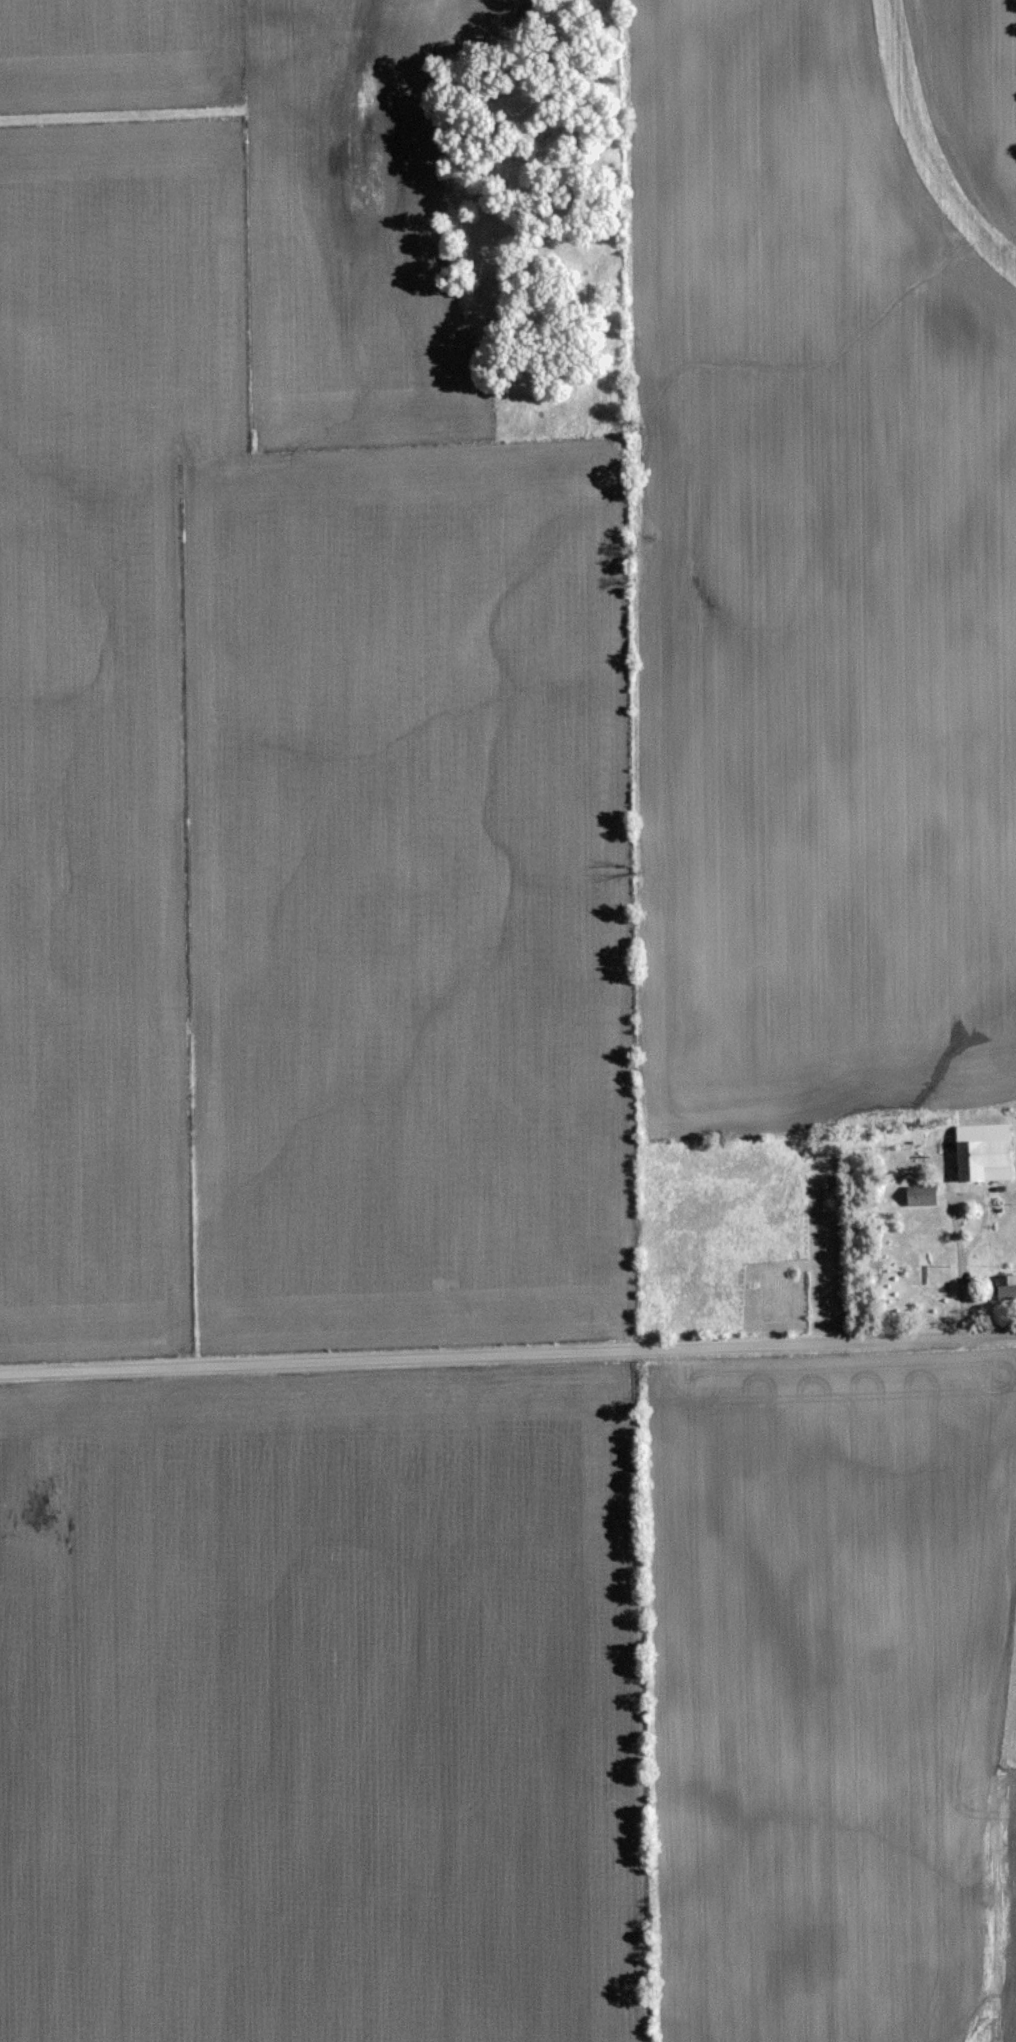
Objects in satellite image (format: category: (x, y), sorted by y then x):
building: (974, 1156)
building: (915, 1194)
building: (1002, 1286)
road: (508, 1350)

